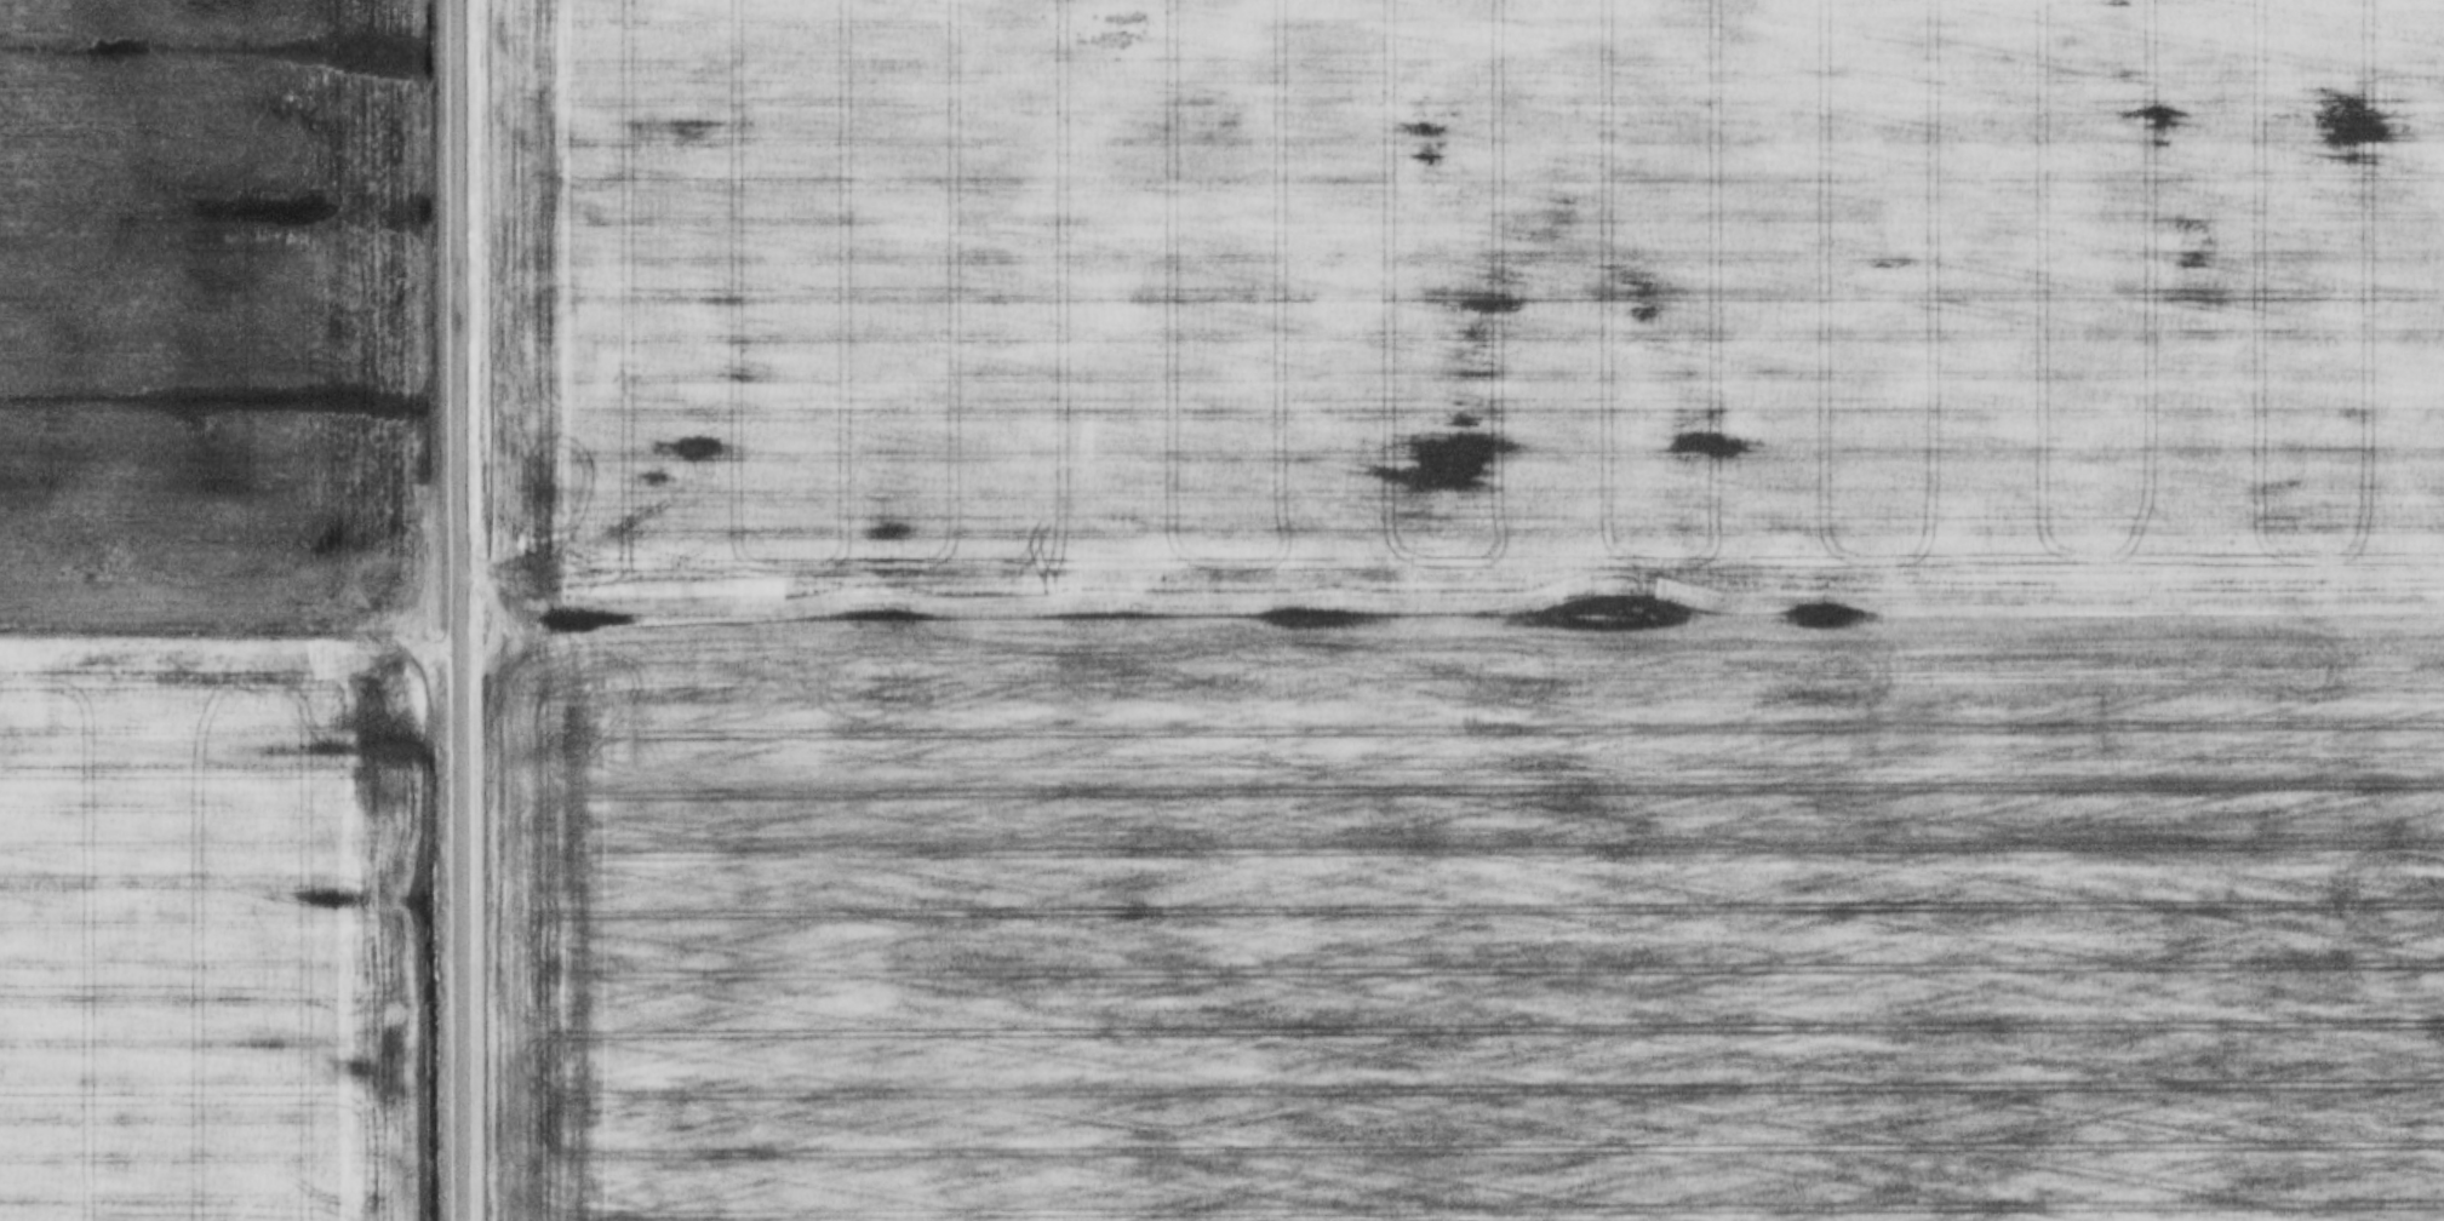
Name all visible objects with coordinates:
road: (463, 609)

